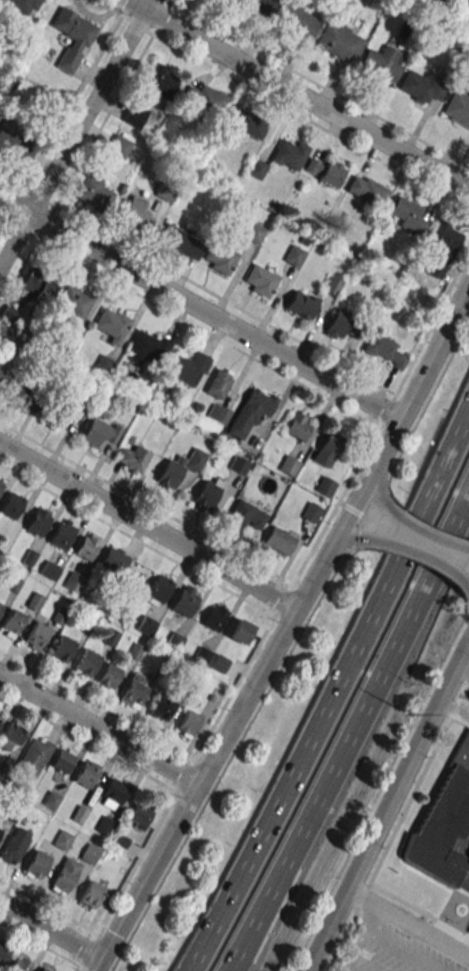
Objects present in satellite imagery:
road: (168, 1)
building: (436, 1)
building: (22, 5)
building: (258, 6)
road: (114, 10)
building: (464, 10)
building: (294, 21)
road: (149, 32)
building: (72, 38)
building: (336, 42)
building: (373, 64)
building: (160, 81)
road: (316, 84)
building: (412, 84)
road: (296, 93)
building: (205, 98)
building: (457, 109)
road: (294, 112)
building: (134, 115)
building: (250, 124)
road: (74, 132)
building: (5, 140)
building: (118, 146)
building: (288, 154)
building: (366, 190)
building: (94, 192)
building: (135, 213)
building: (407, 215)
road: (2, 219)
road: (2, 224)
building: (254, 232)
building: (180, 241)
building: (441, 249)
building: (294, 255)
building: (220, 258)
building: (260, 281)
building: (34, 284)
road: (196, 285)
building: (71, 301)
building: (301, 305)
road: (199, 309)
building: (109, 322)
building: (337, 322)
building: (147, 346)
building: (384, 349)
building: (182, 369)
building: (1, 370)
building: (218, 383)
building: (21, 393)
building: (53, 411)
building: (251, 411)
building: (217, 413)
building: (297, 426)
building: (99, 432)
building: (327, 449)
building: (131, 458)
building: (195, 460)
building: (238, 465)
building: (288, 465)
road: (373, 477)
building: (0, 483)
building: (325, 486)
building: (206, 495)
building: (11, 505)
building: (311, 512)
building: (244, 516)
building: (37, 521)
road: (146, 527)
road: (413, 527)
building: (62, 534)
building: (278, 541)
road: (338, 541)
building: (87, 545)
road: (413, 554)
building: (113, 560)
building: (49, 570)
building: (74, 581)
building: (158, 589)
building: (185, 600)
road: (246, 601)
building: (0, 607)
building: (214, 618)
building: (11, 623)
building: (145, 625)
road: (284, 625)
building: (240, 632)
building: (36, 636)
building: (61, 649)
building: (86, 663)
building: (219, 663)
road: (460, 675)
building: (108, 677)
road: (466, 677)
building: (134, 690)
road: (459, 691)
road: (337, 692)
road: (95, 706)
building: (160, 708)
road: (451, 708)
road: (361, 712)
road: (452, 713)
building: (0, 717)
building: (188, 724)
road: (98, 729)
building: (12, 735)
building: (34, 756)
building: (62, 759)
building: (86, 773)
building: (112, 793)
road: (387, 803)
building: (139, 814)
building: (444, 826)
building: (0, 830)
road: (385, 843)
building: (14, 845)
building: (36, 864)
building: (65, 875)
building: (91, 893)
road: (64, 915)
road: (407, 922)
road: (49, 928)
building: (468, 930)
building: (468, 933)
road: (362, 939)
road: (43, 946)
parking lot: (390, 950)
building: (3, 951)
road: (239, 954)
road: (242, 954)
building: (19, 963)
building: (43, 969)
road: (190, 970)
road: (190, 970)

